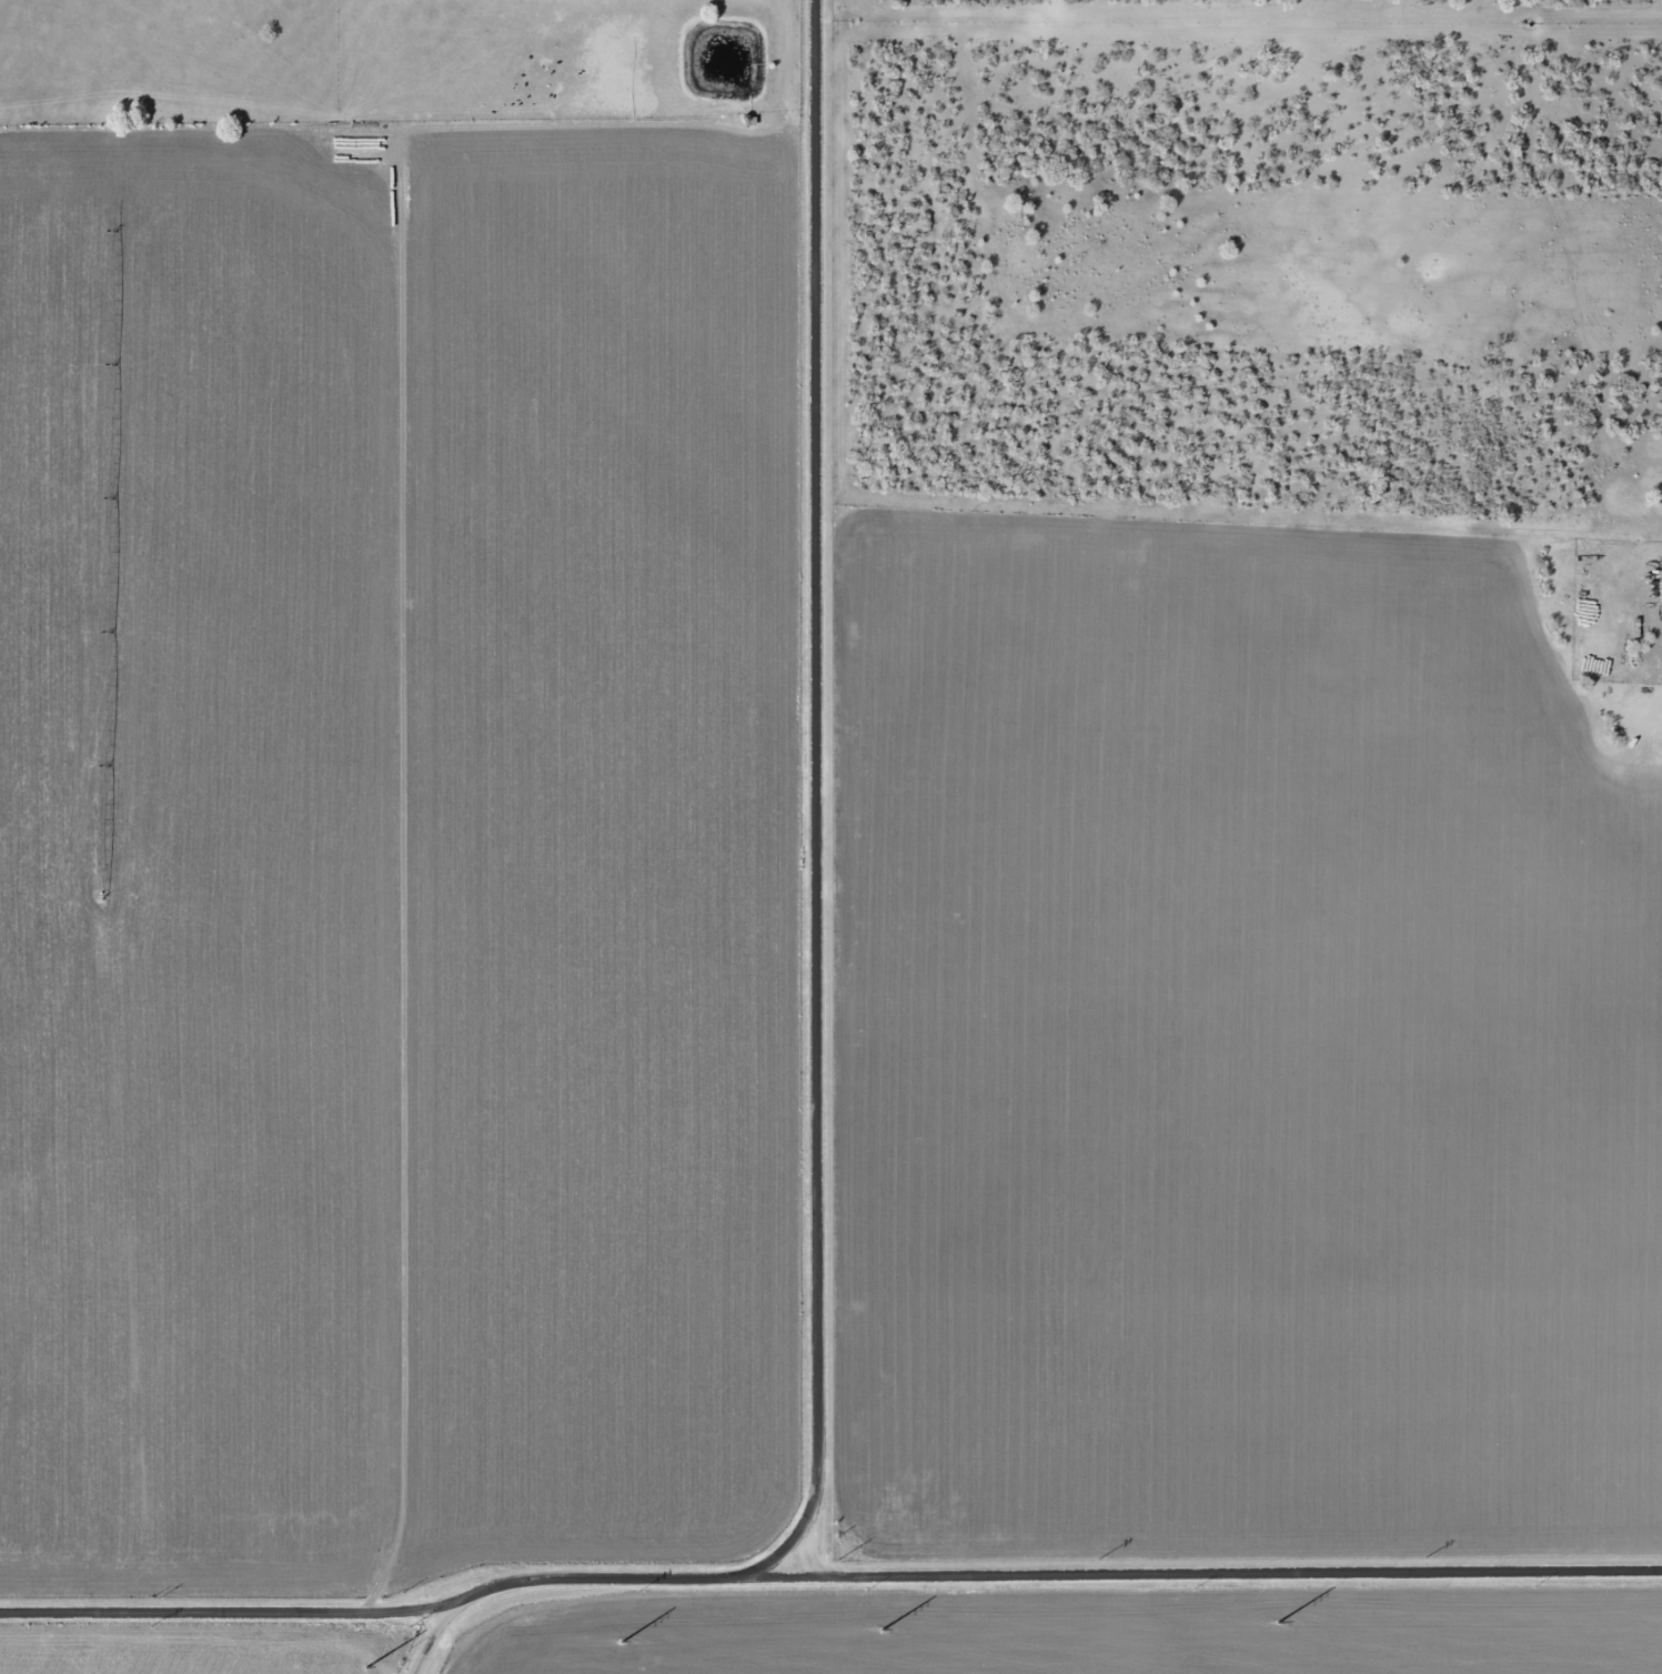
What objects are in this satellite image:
road: (1609, 504)
road: (818, 793)
road: (775, 1559)
power tower: (1426, 1559)
power tower: (1101, 1560)
power tower: (839, 1561)
road: (827, 1579)
power tower: (637, 1590)
power tower: (1275, 1621)
power tower: (150, 1626)
power tower: (410, 1627)
power tower: (878, 1628)
road: (433, 1638)
power tower: (620, 1642)
power tower: (365, 1667)

